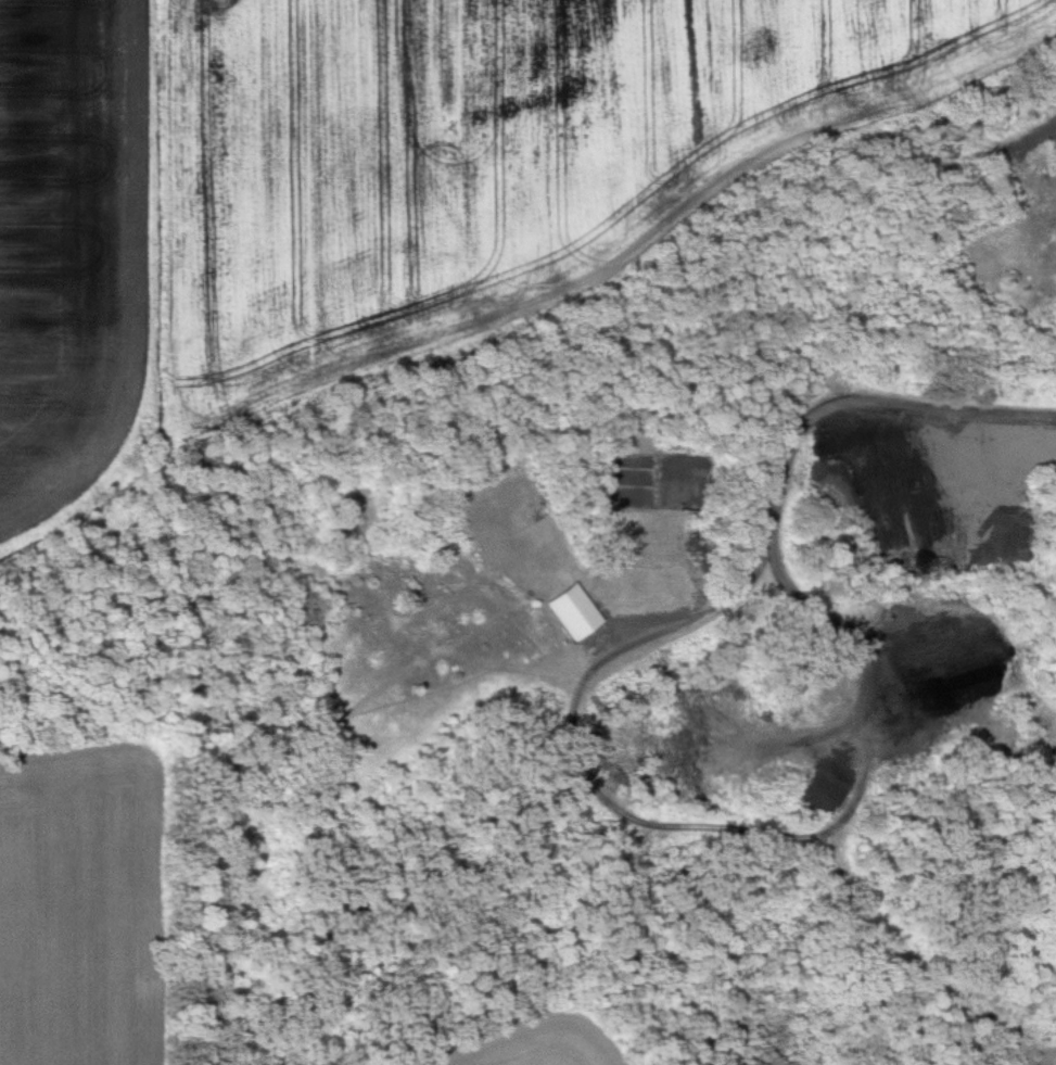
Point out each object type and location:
road: (786, 470)
building: (660, 504)
building: (578, 613)

